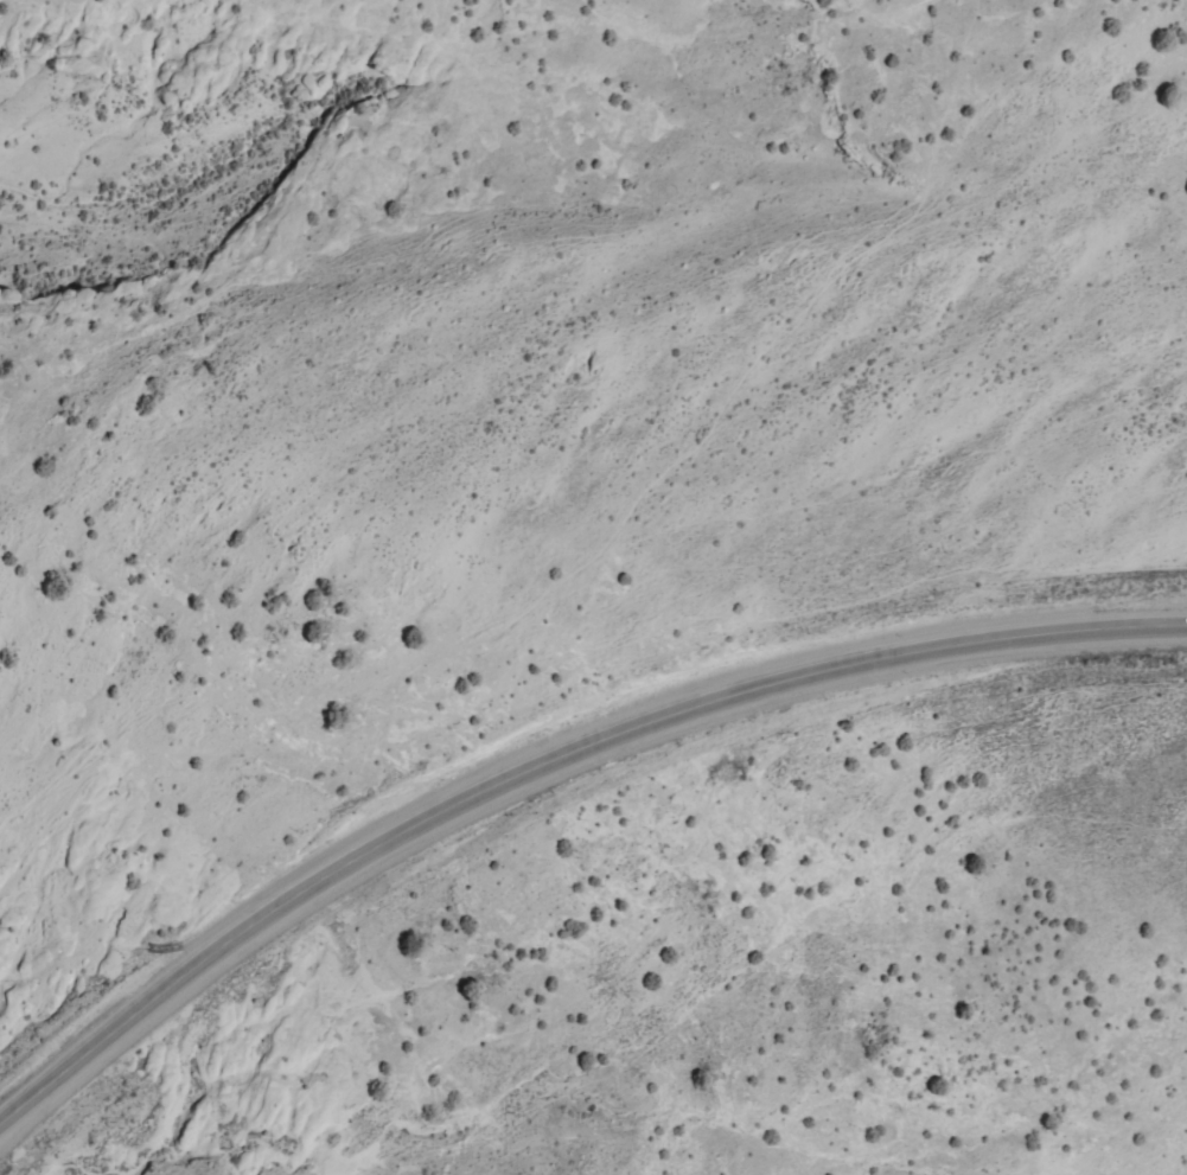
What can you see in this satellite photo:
road: (549, 762)
road: (403, 1009)
road: (503, 1149)

